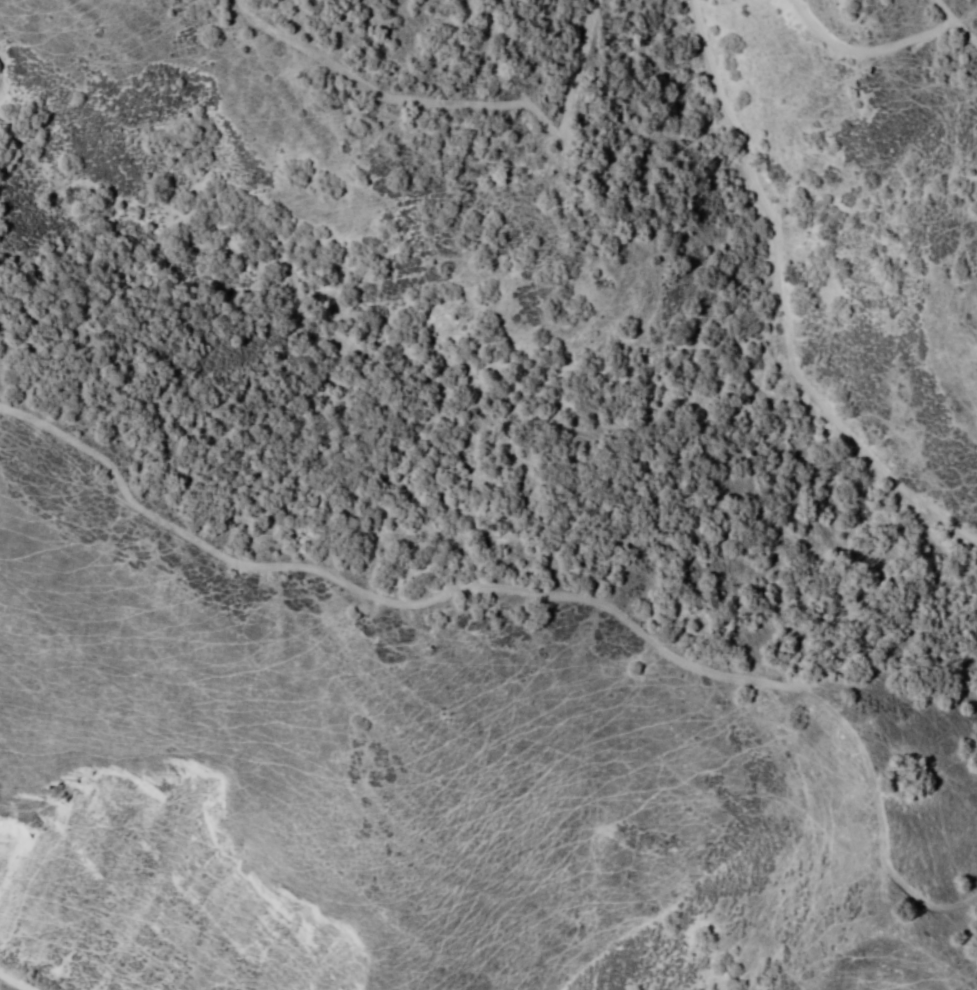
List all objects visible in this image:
road: (21, 976)

